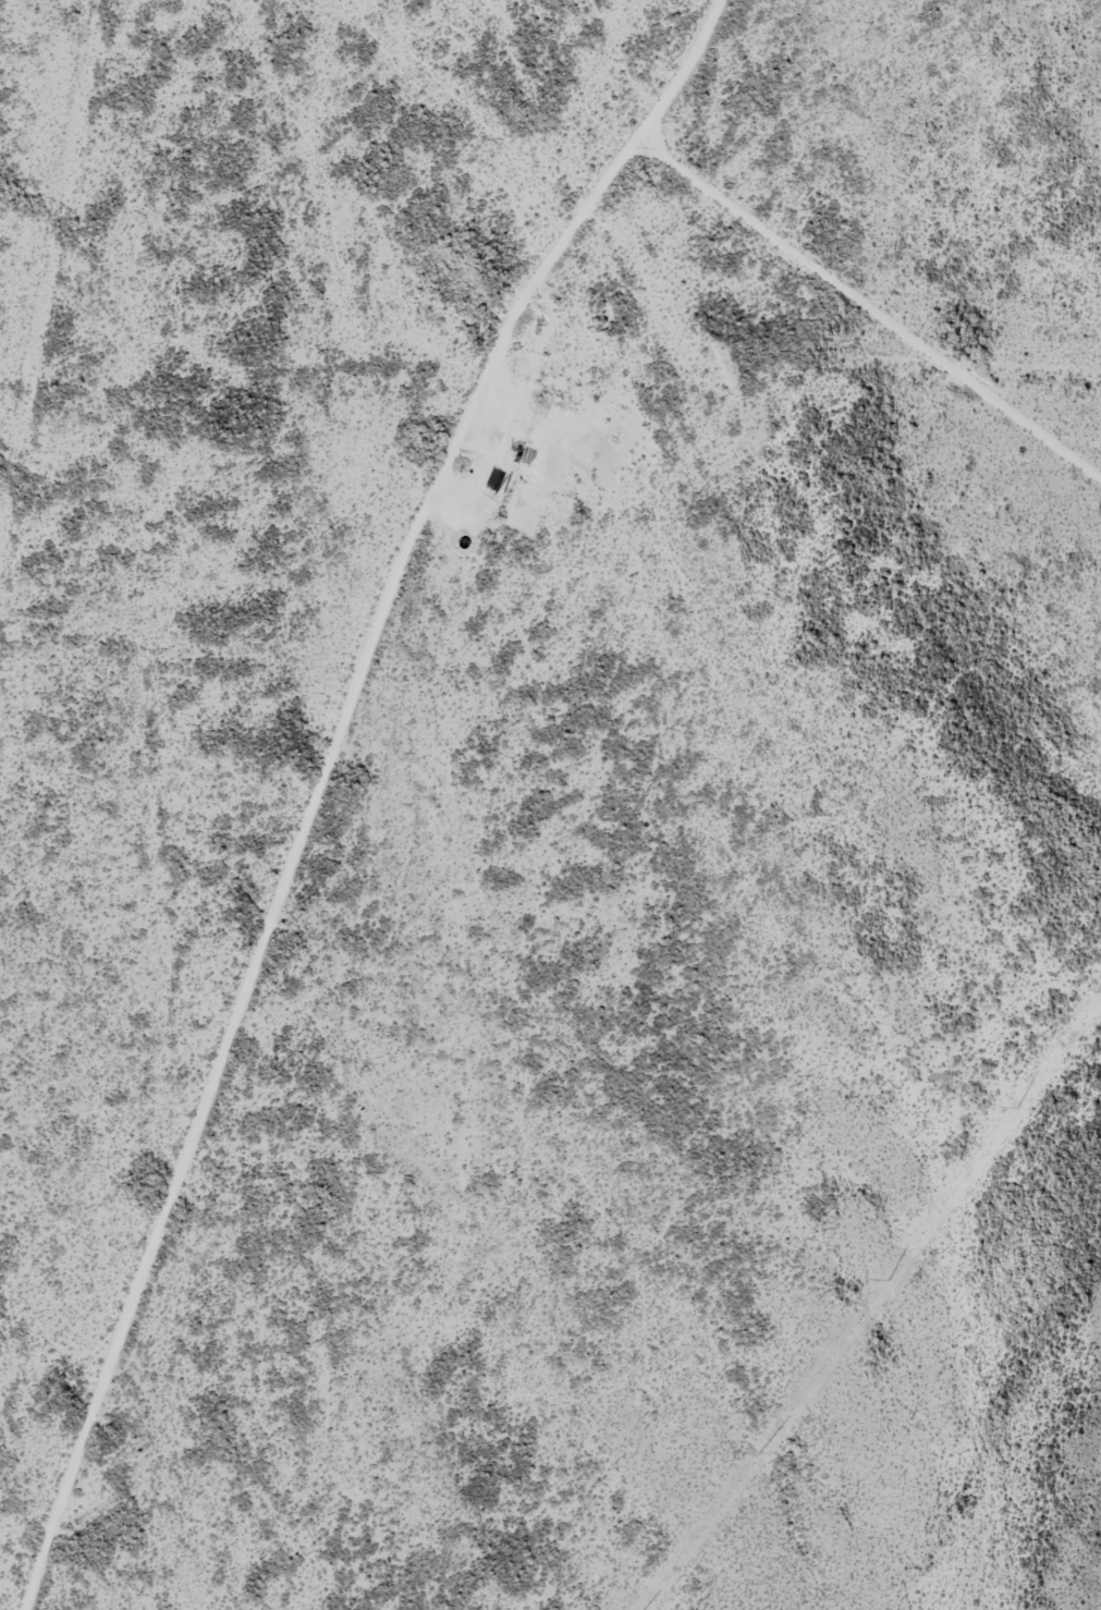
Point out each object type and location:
power tower: (1016, 1109)
power tower: (888, 1282)
power tower: (759, 1454)

